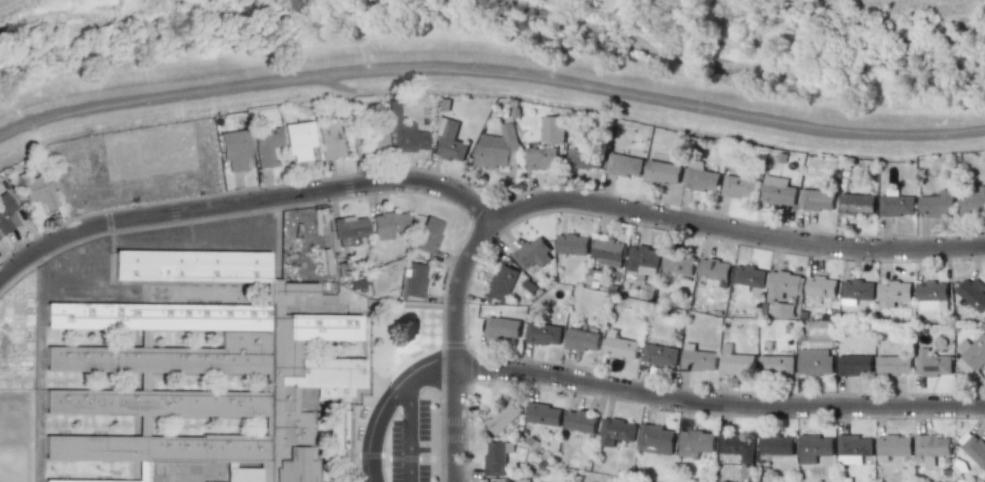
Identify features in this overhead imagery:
road: (492, 70)
building: (552, 129)
building: (403, 132)
building: (298, 140)
building: (329, 140)
building: (448, 140)
building: (374, 141)
building: (265, 145)
building: (153, 147)
building: (495, 148)
building: (233, 149)
building: (542, 158)
building: (585, 159)
building: (624, 165)
building: (820, 168)
building: (663, 172)
building: (700, 177)
building: (739, 187)
building: (36, 190)
building: (778, 191)
building: (817, 200)
building: (972, 201)
building: (856, 203)
road: (246, 204)
building: (937, 204)
building: (896, 205)
building: (5, 213)
road: (263, 216)
building: (386, 225)
building: (348, 227)
road: (738, 231)
road: (125, 234)
building: (427, 235)
road: (197, 237)
building: (572, 244)
building: (608, 252)
building: (533, 254)
road: (69, 260)
building: (643, 260)
building: (678, 266)
road: (37, 268)
building: (715, 270)
building: (595, 273)
building: (749, 276)
road: (73, 279)
building: (412, 281)
building: (502, 282)
building: (821, 287)
building: (782, 291)
building: (857, 291)
building: (894, 293)
building: (973, 293)
building: (932, 297)
building: (503, 328)
building: (543, 334)
building: (582, 340)
road: (457, 346)
building: (620, 346)
building: (971, 354)
building: (660, 355)
building: (697, 358)
building: (736, 361)
building: (815, 361)
building: (932, 363)
building: (776, 365)
building: (855, 365)
building: (894, 365)
road: (386, 403)
road: (720, 404)
building: (544, 414)
building: (502, 417)
building: (581, 421)
road: (409, 430)
building: (616, 431)
building: (656, 439)
building: (695, 443)
building: (737, 445)
building: (776, 445)
building: (894, 445)
building: (814, 448)
building: (933, 448)
building: (855, 450)
building: (975, 450)
building: (497, 457)
building: (746, 471)
building: (506, 480)
building: (489, 481)
building: (534, 481)

